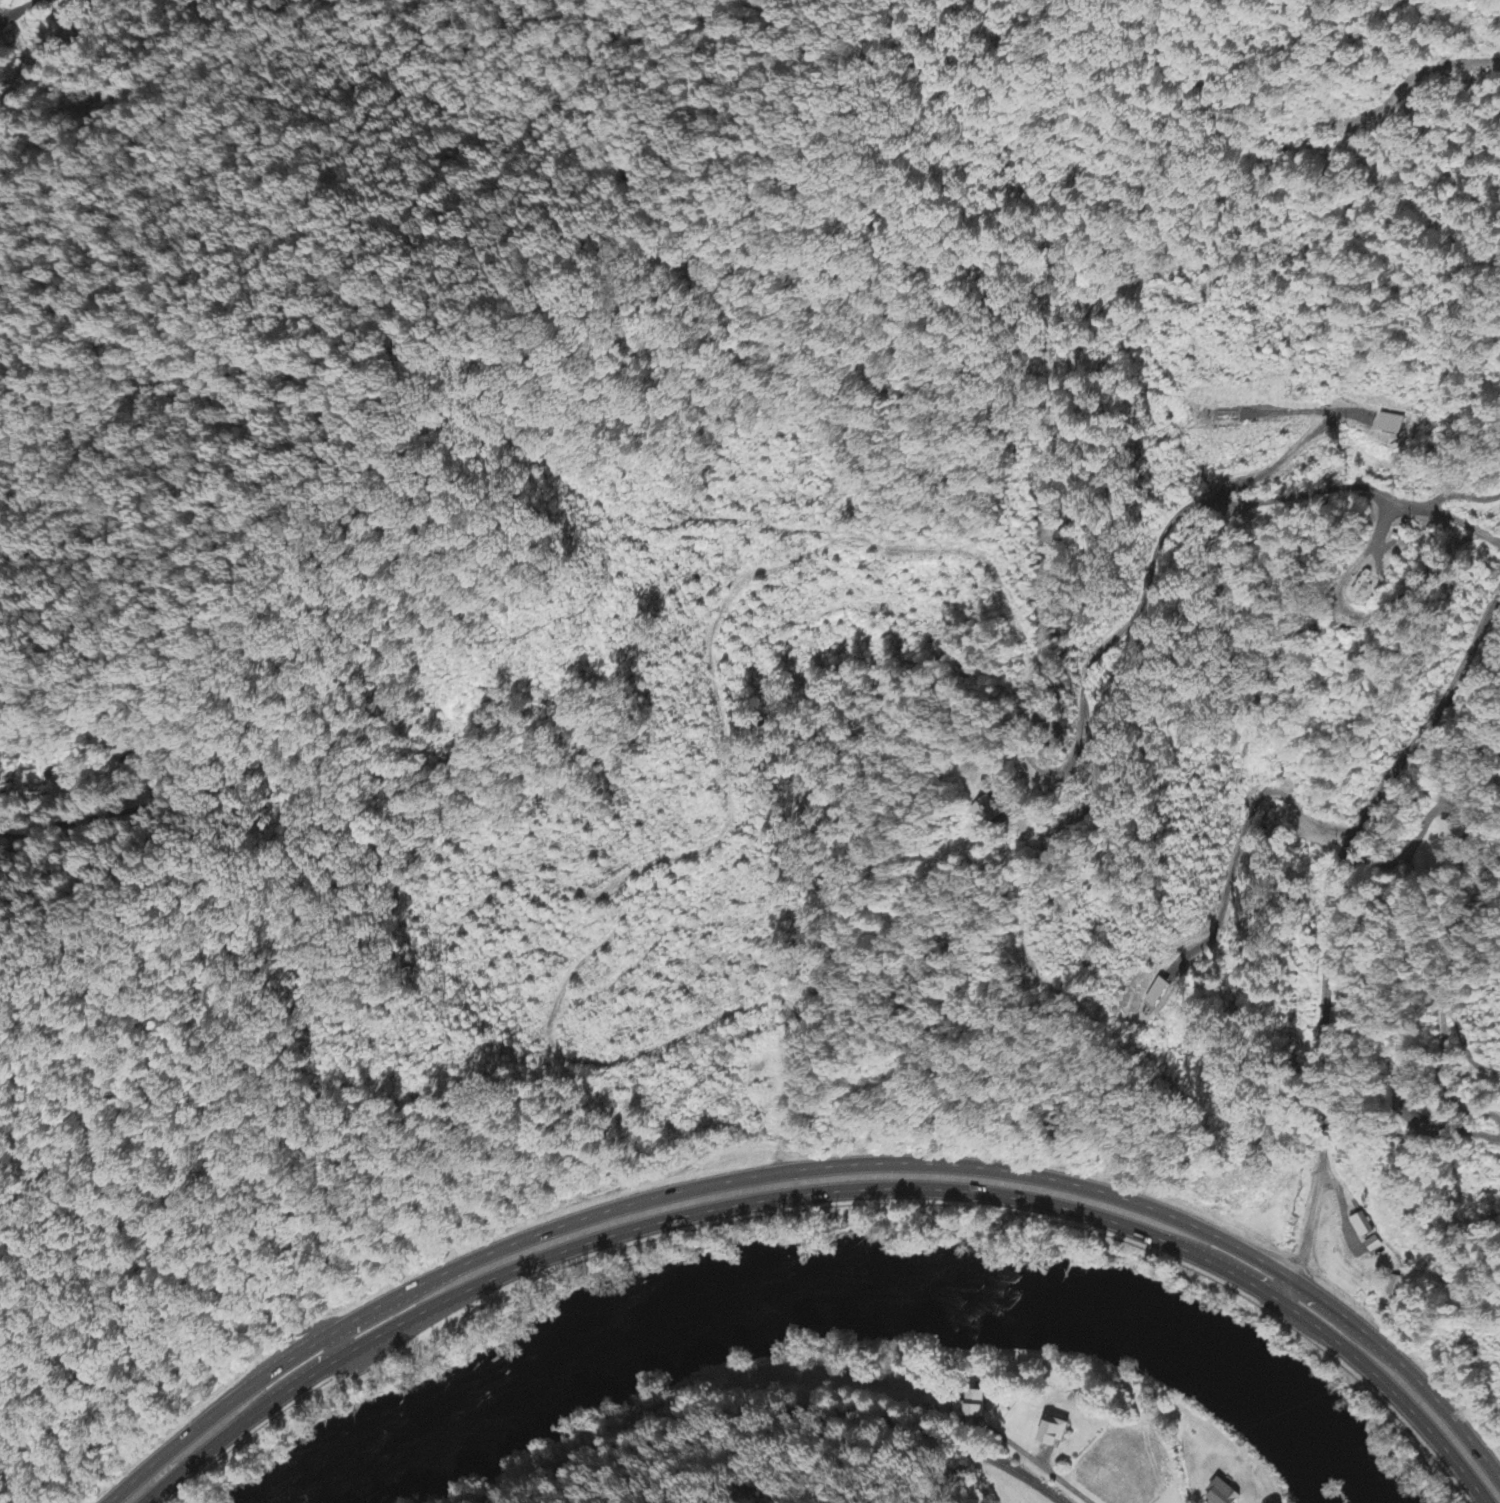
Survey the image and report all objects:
road: (17, 9)
building: (1392, 425)
building: (116, 747)
building: (990, 811)
building: (1451, 832)
building: (1412, 1119)
road: (808, 1167)
road: (827, 1190)
building: (1361, 1226)
road: (1227, 1260)
road: (388, 1309)
river: (703, 1313)
road: (1327, 1315)
river: (1219, 1354)
road: (290, 1379)
railway: (769, 1380)
building: (975, 1406)
building: (1056, 1433)
river: (1306, 1457)
road: (1043, 1467)
building: (1225, 1493)

